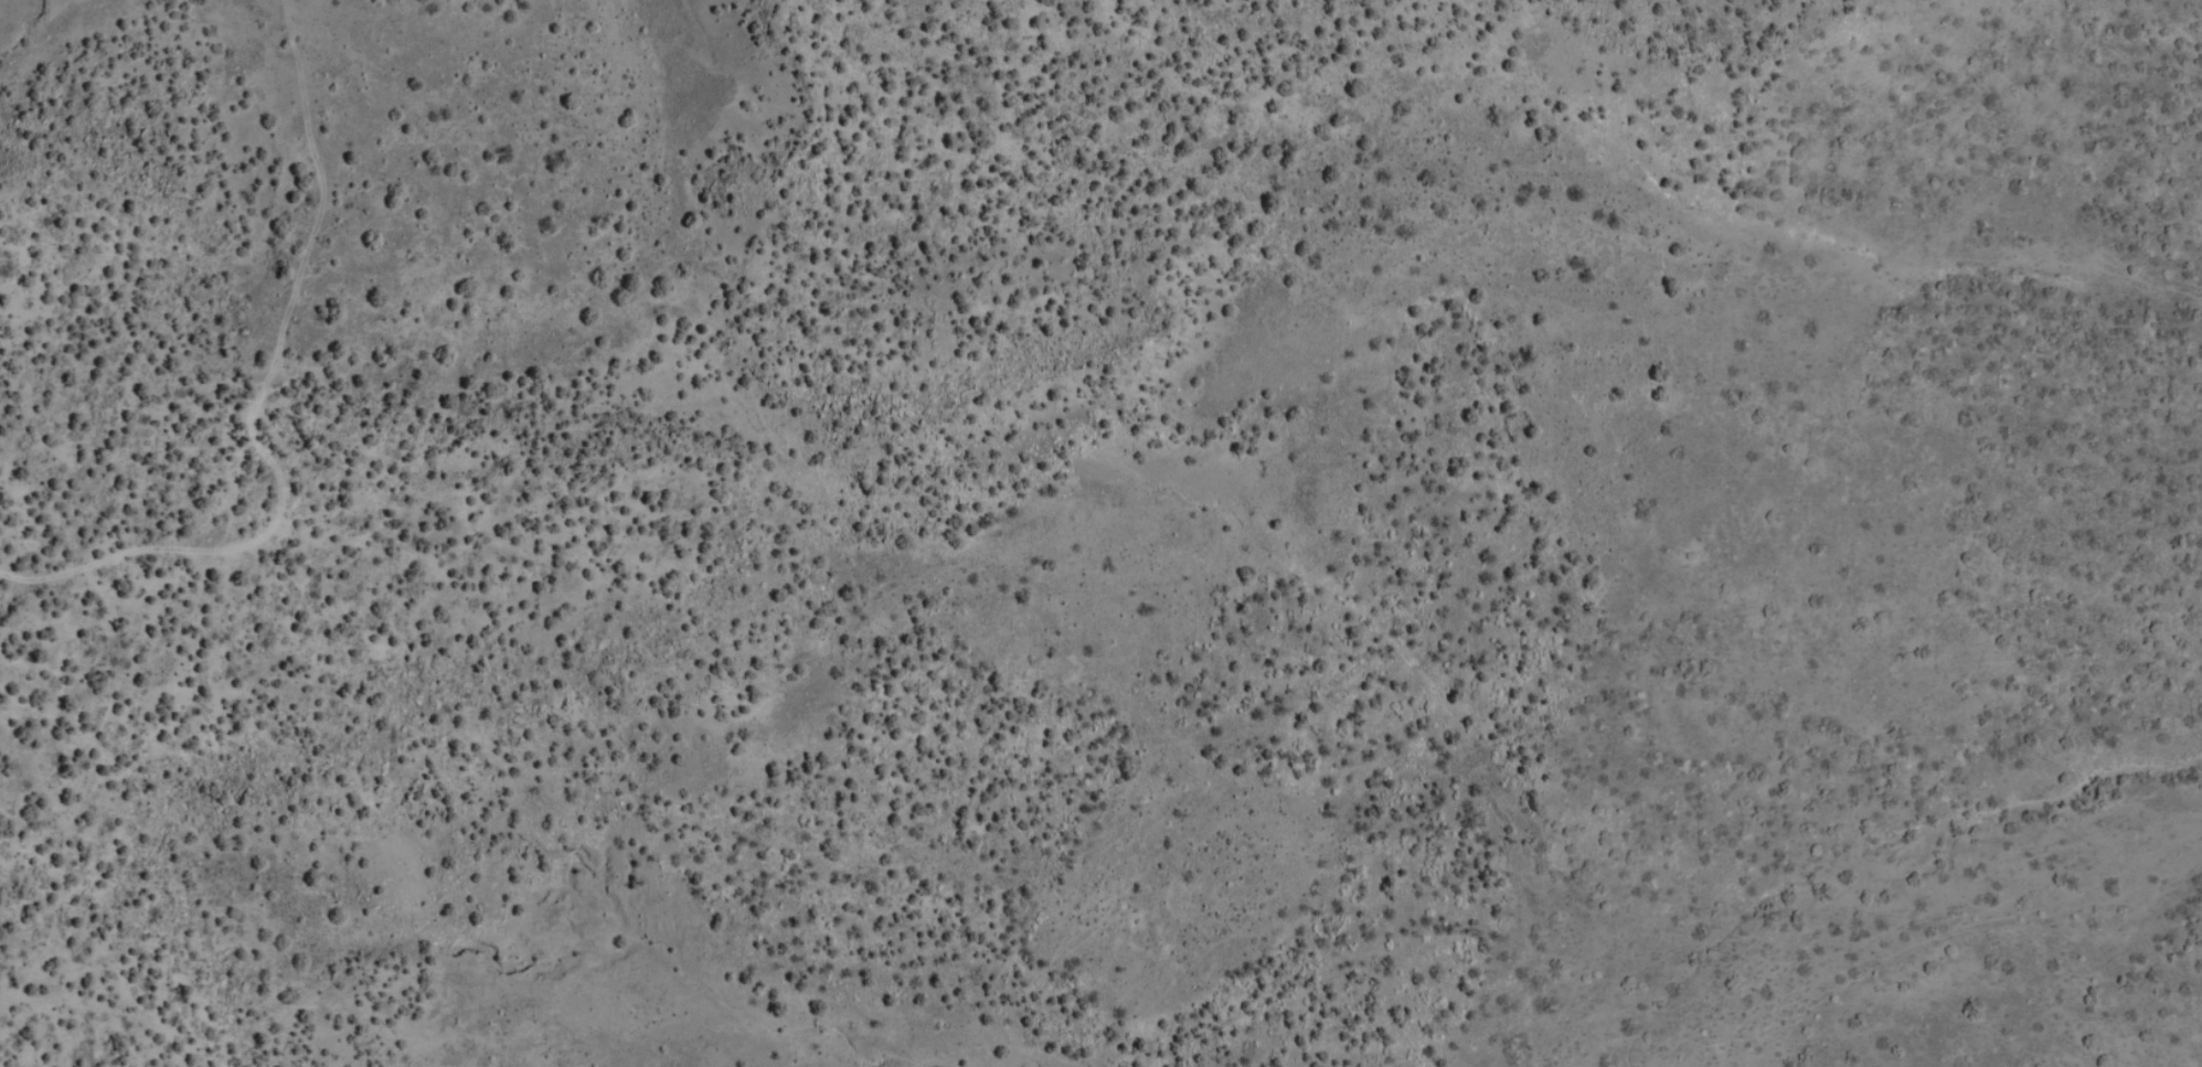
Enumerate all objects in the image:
road: (269, 397)

